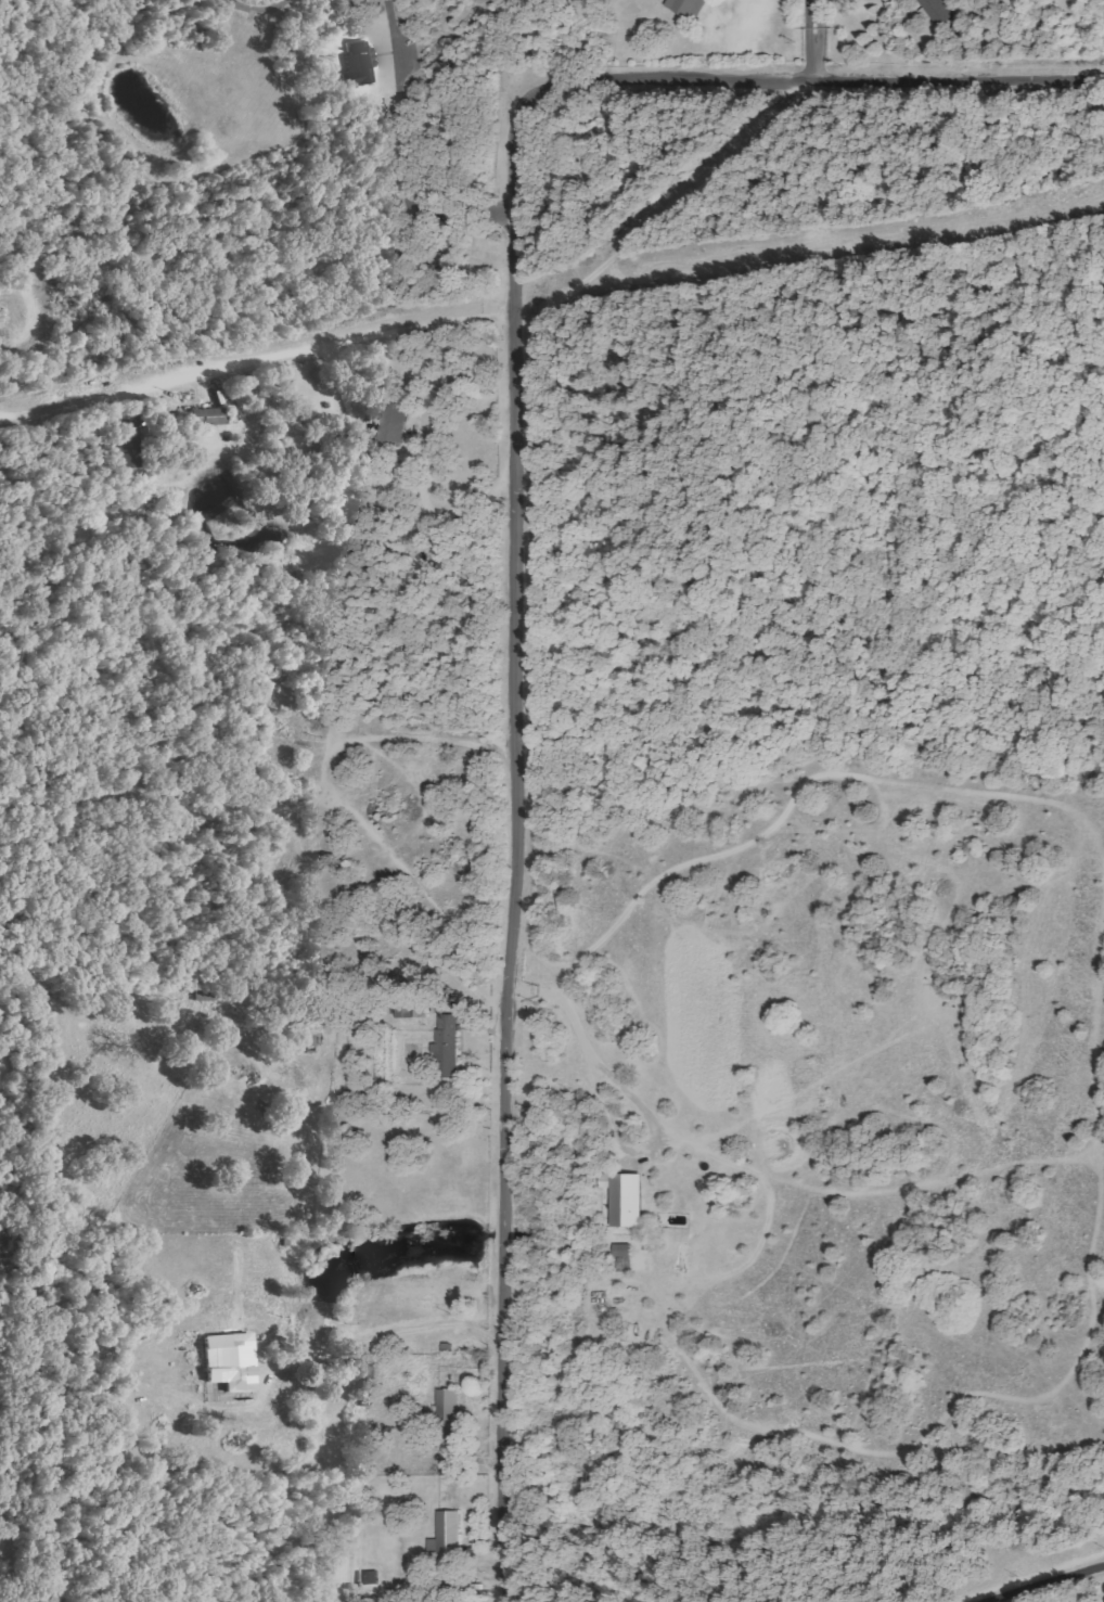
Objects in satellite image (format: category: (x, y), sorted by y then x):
building: (689, 5)
building: (940, 11)
road: (813, 38)
building: (359, 63)
road: (336, 346)
building: (209, 416)
building: (396, 420)
building: (128, 444)
road: (513, 560)
building: (448, 1036)
building: (628, 1197)
building: (625, 1249)
building: (244, 1355)
building: (452, 1413)
building: (449, 1536)
road: (1045, 1582)

